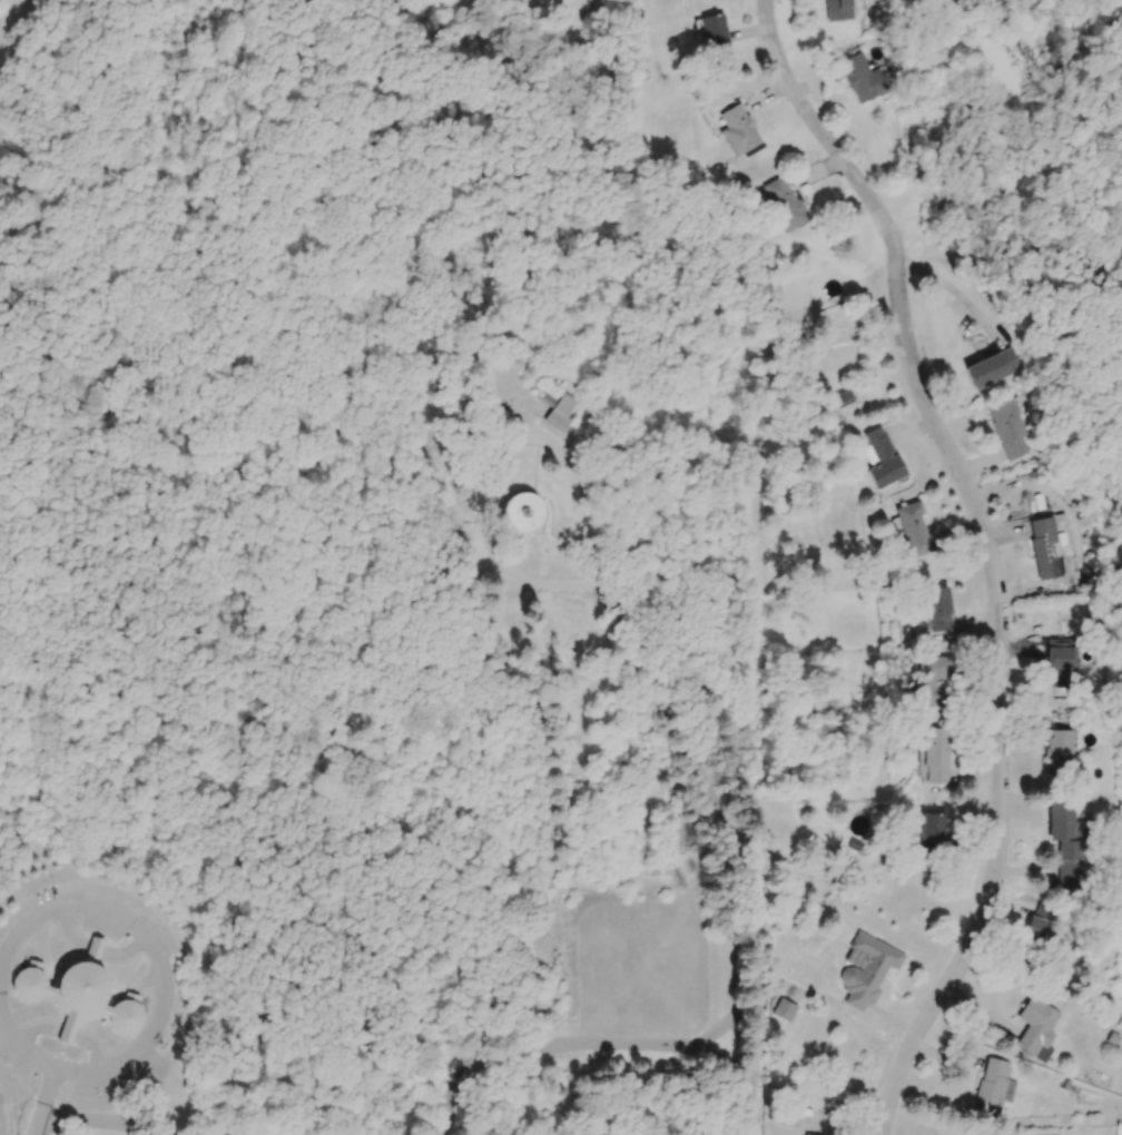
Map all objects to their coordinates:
building: (814, 0)
building: (840, 10)
building: (603, 31)
building: (717, 31)
building: (864, 79)
building: (739, 129)
building: (786, 204)
building: (990, 371)
building: (560, 406)
building: (1011, 431)
building: (883, 457)
building: (524, 513)
building: (916, 530)
building: (1054, 547)
road: (990, 554)
building: (939, 610)
road: (620, 613)
building: (1064, 663)
building: (933, 680)
building: (1060, 753)
building: (937, 757)
building: (935, 835)
building: (1067, 843)
building: (1039, 932)
building: (868, 973)
road: (165, 985)
building: (80, 998)
building: (785, 1011)
road: (754, 1028)
building: (1037, 1030)
road: (542, 1047)
road: (722, 1057)
building: (995, 1090)
road: (750, 1098)
road: (42, 1101)
road: (105, 1118)
road: (749, 1129)
building: (236, 1134)

